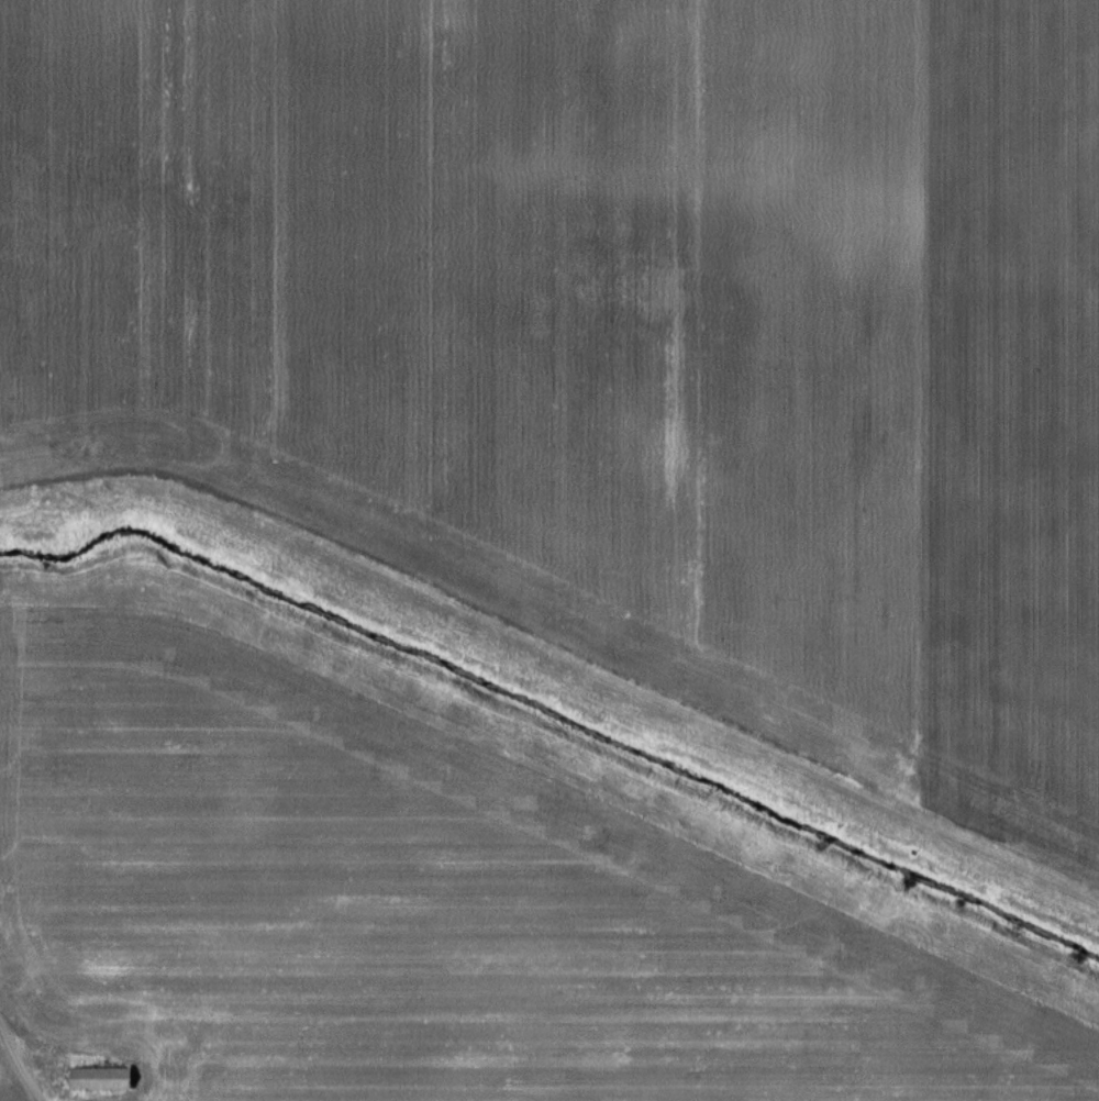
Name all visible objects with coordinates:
building: (97, 1078)
road: (51, 1100)

